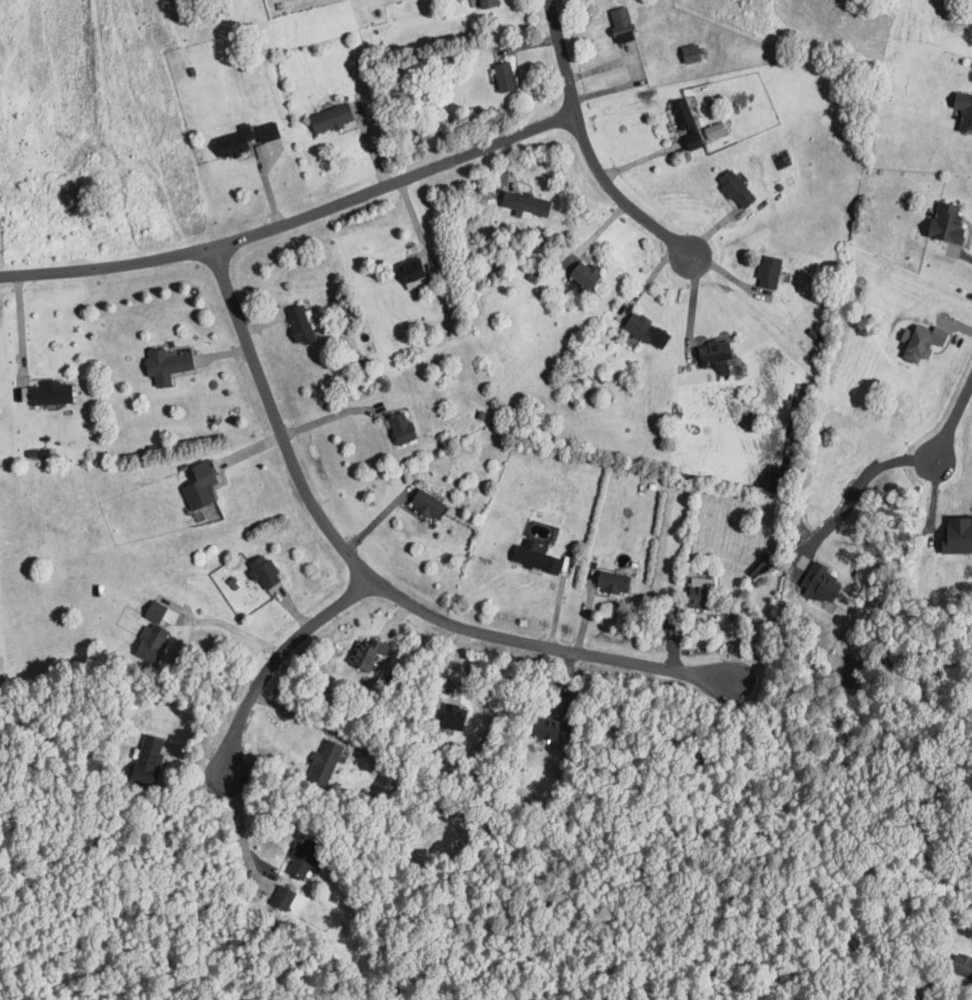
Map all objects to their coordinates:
building: (492, 3)
building: (625, 24)
building: (694, 52)
building: (508, 76)
building: (965, 108)
building: (335, 117)
building: (690, 123)
building: (718, 129)
building: (251, 139)
road: (586, 146)
building: (739, 188)
building: (529, 204)
road: (295, 220)
building: (951, 223)
building: (416, 270)
building: (773, 271)
building: (588, 273)
road: (693, 300)
road: (21, 323)
building: (303, 325)
building: (650, 330)
building: (925, 341)
building: (718, 351)
building: (170, 364)
building: (56, 393)
road: (330, 417)
road: (953, 419)
building: (406, 427)
building: (204, 486)
road: (859, 487)
building: (432, 503)
building: (959, 533)
building: (538, 557)
building: (267, 571)
road: (372, 579)
building: (616, 581)
building: (826, 582)
building: (705, 595)
building: (158, 610)
road: (232, 628)
building: (154, 640)
building: (370, 652)
road: (275, 661)
building: (459, 716)
building: (553, 729)
building: (155, 757)
building: (328, 760)
road: (240, 826)
building: (307, 858)
building: (286, 896)

